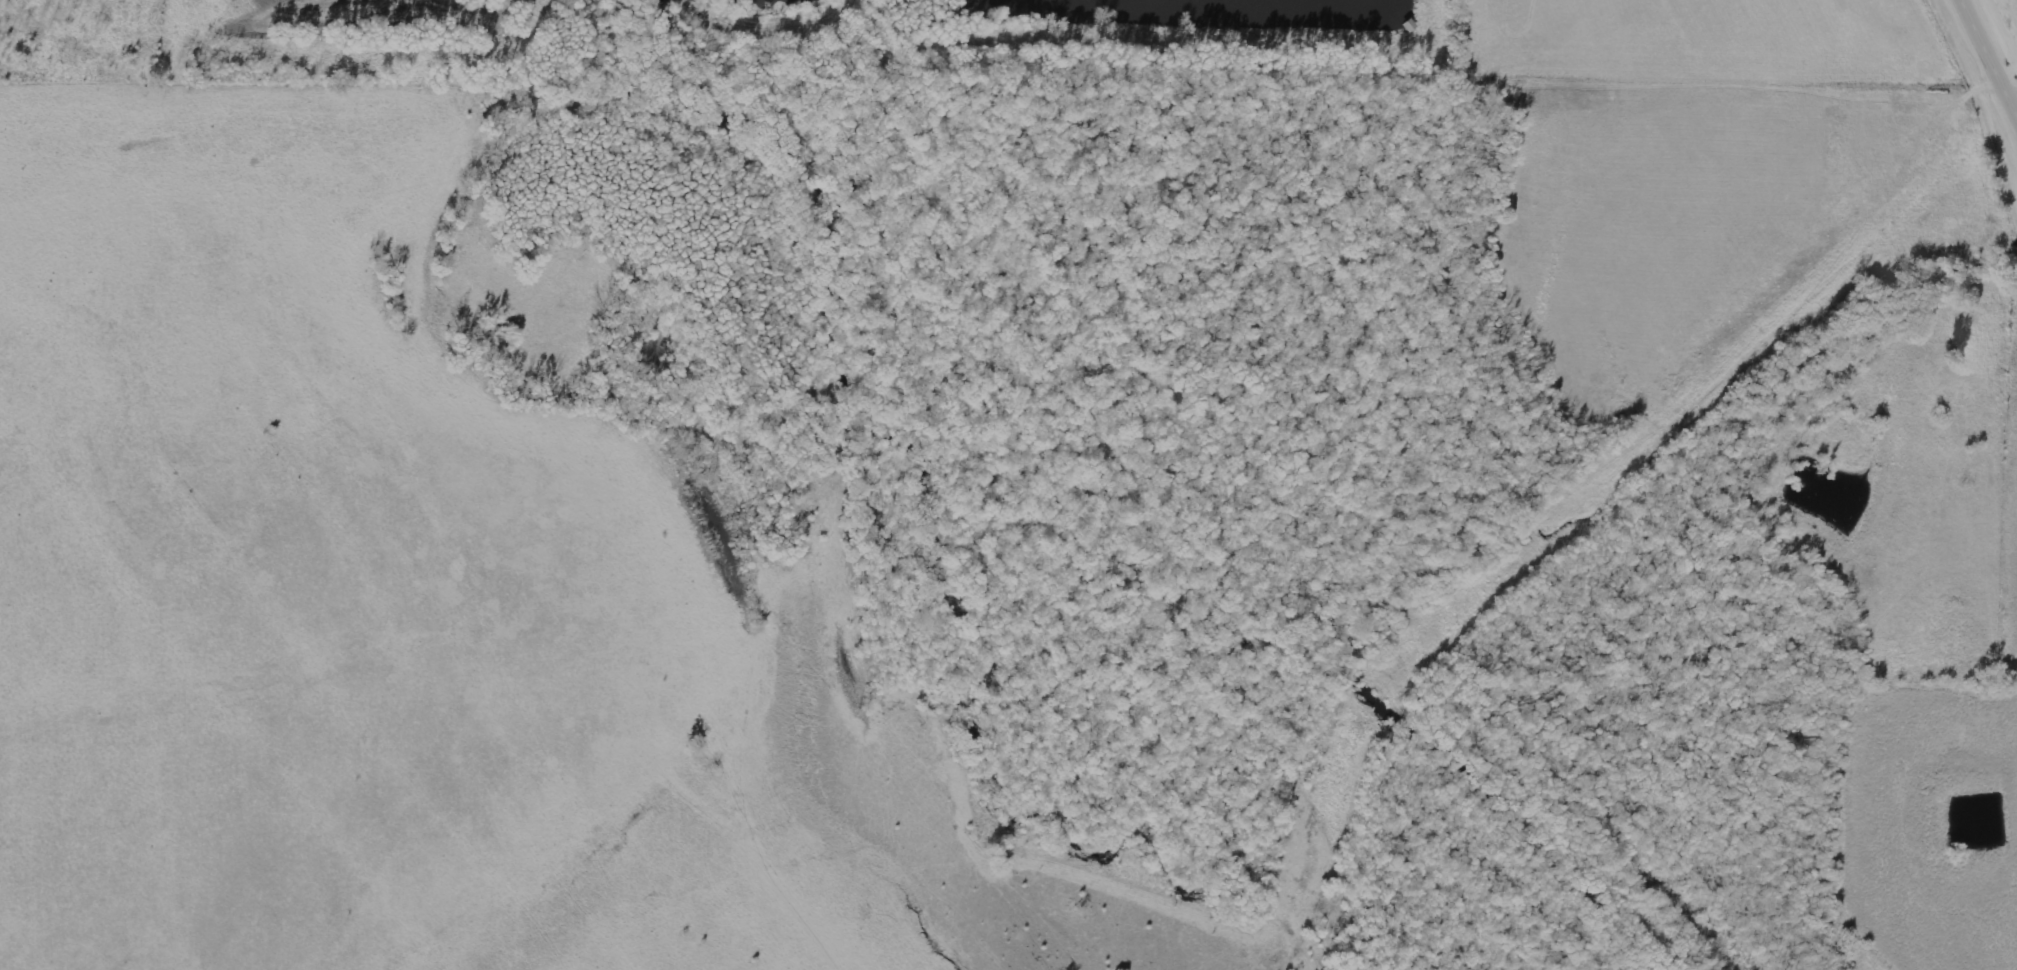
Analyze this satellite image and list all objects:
road: (1984, 64)

